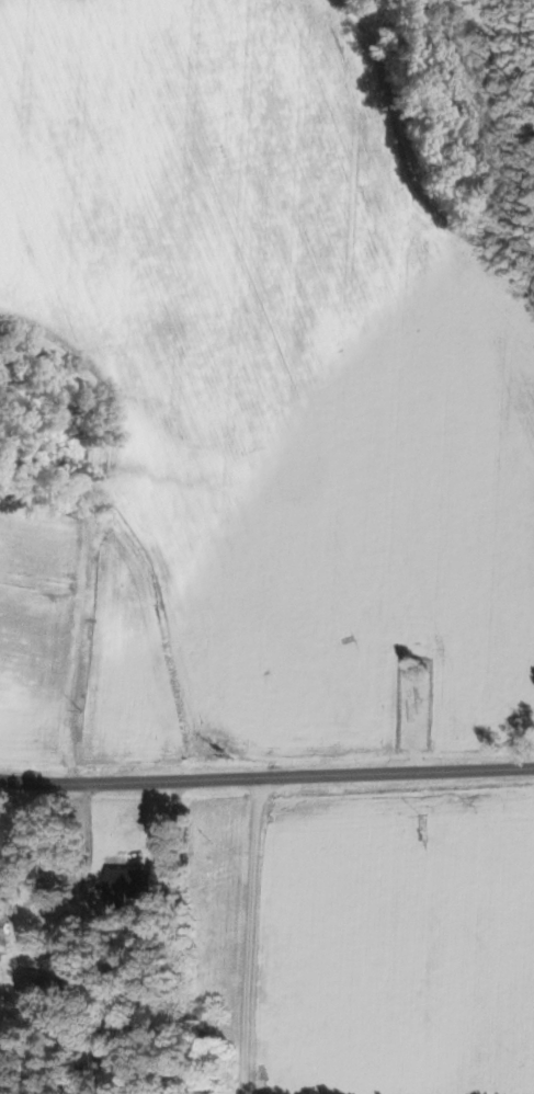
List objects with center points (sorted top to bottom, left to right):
road: (265, 771)
building: (19, 858)
building: (129, 884)
building: (4, 924)
road: (250, 932)
building: (41, 990)

